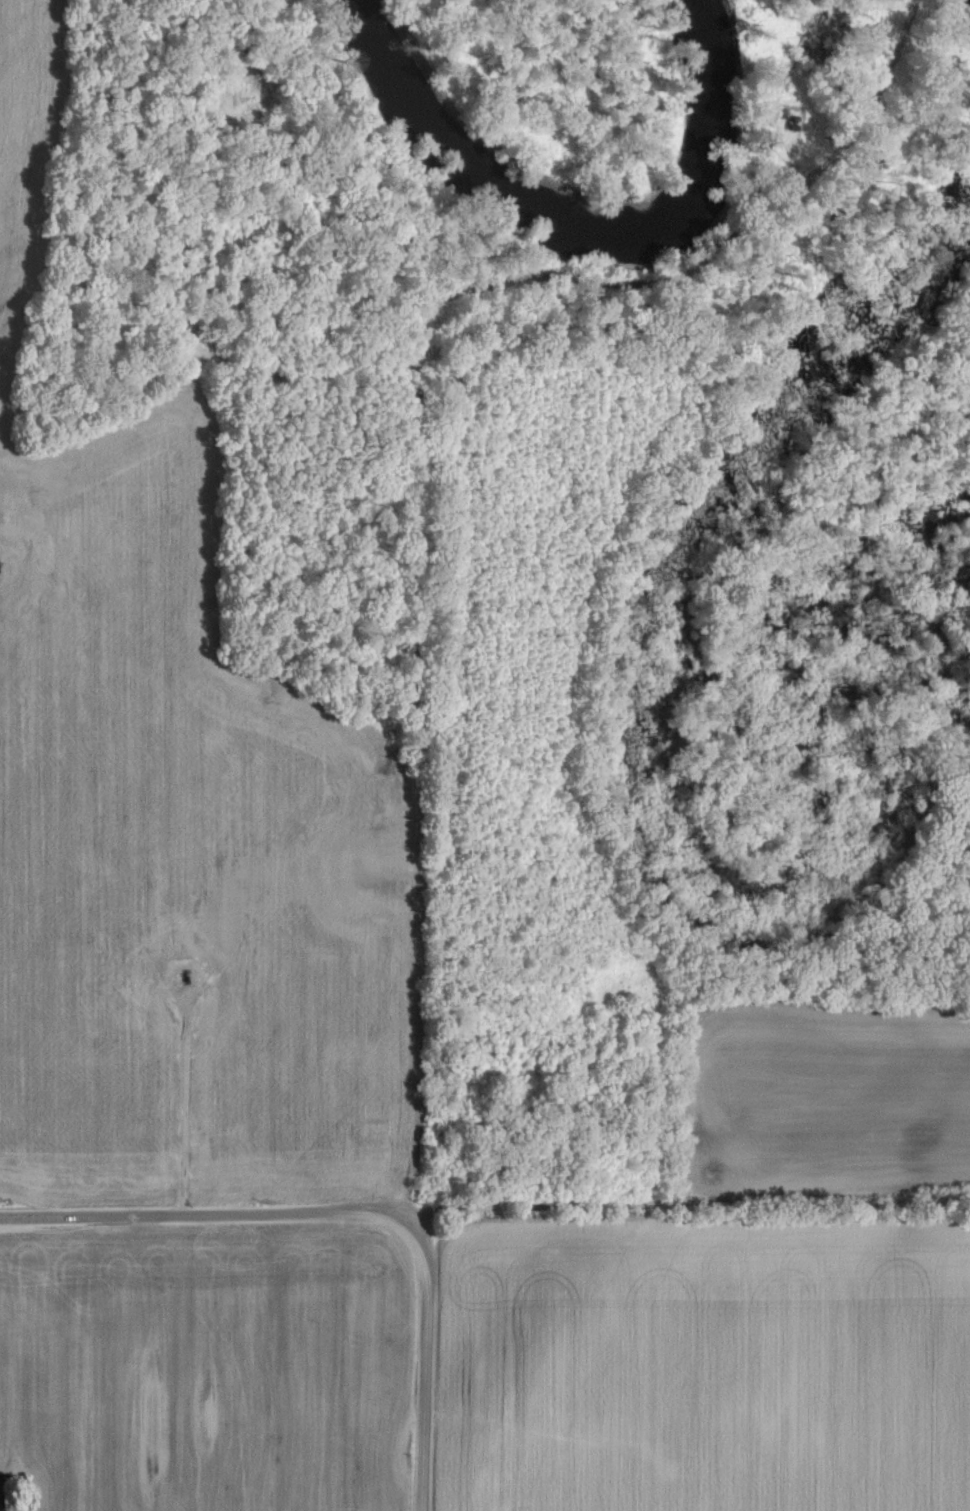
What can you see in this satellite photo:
river: (589, 192)
road: (420, 1002)
road: (655, 1095)
road: (186, 1108)
road: (687, 1202)
road: (227, 1216)
road: (428, 1386)

